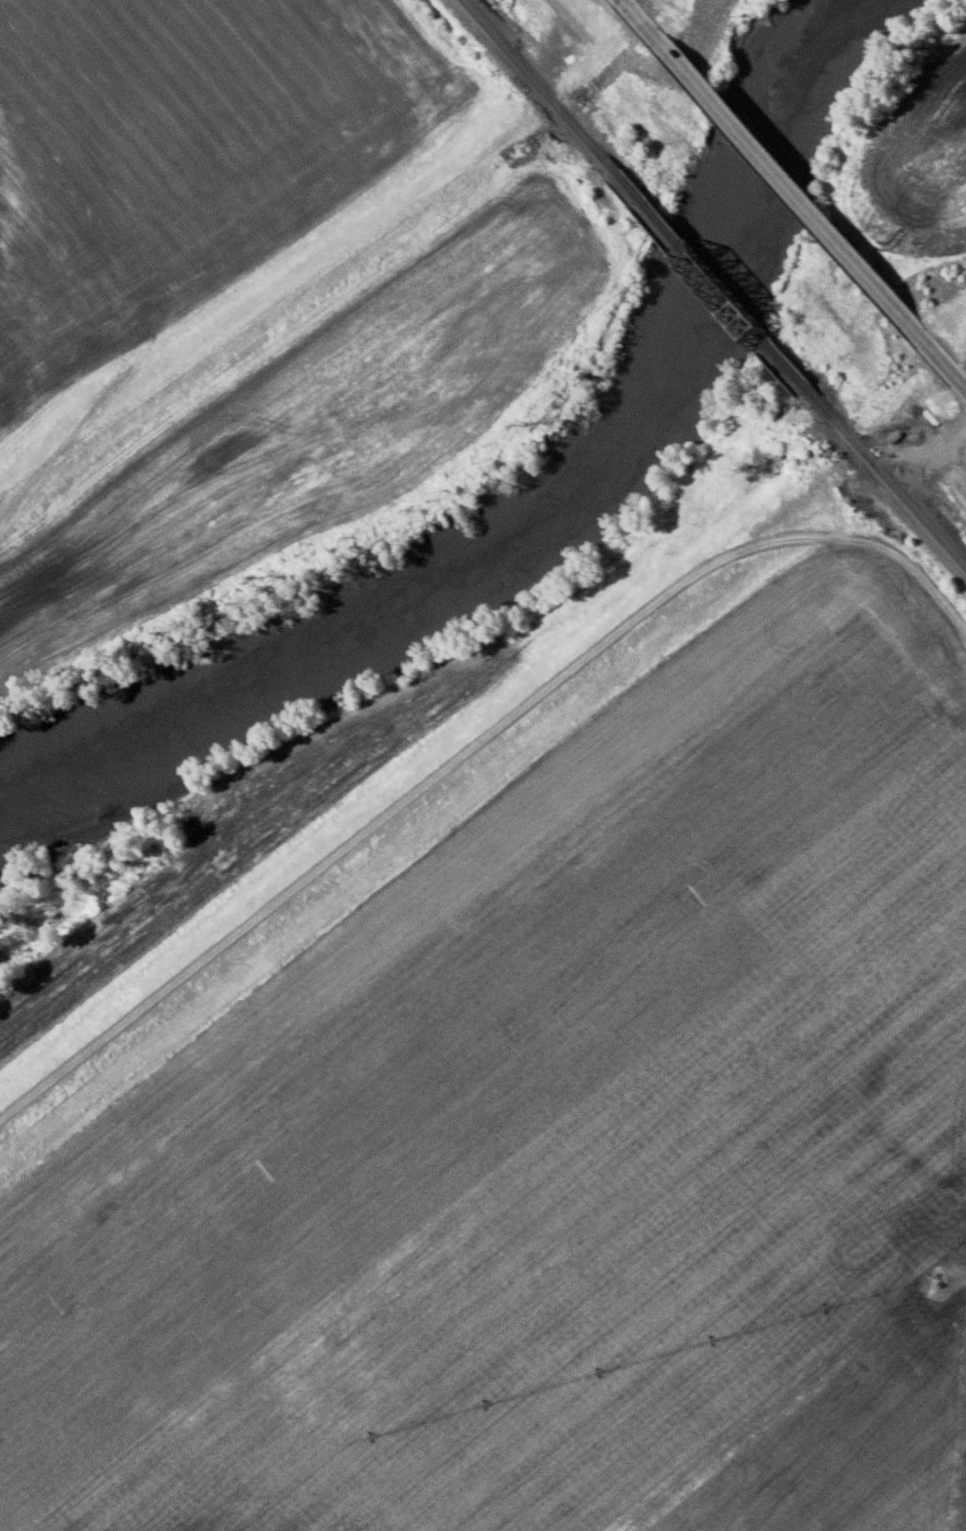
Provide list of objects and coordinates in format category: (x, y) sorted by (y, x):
road: (621, 0)
railway: (536, 84)
road: (776, 175)
railway: (715, 288)
road: (948, 367)
railway: (891, 488)
river: (544, 521)
road: (471, 749)

